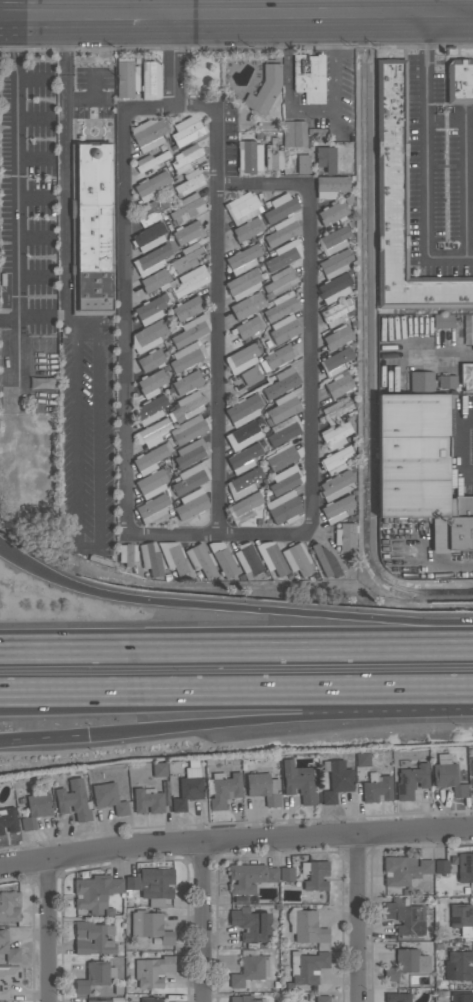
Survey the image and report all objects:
road: (132, 6)
road: (191, 6)
road: (244, 6)
road: (236, 12)
road: (174, 59)
building: (126, 77)
building: (309, 77)
building: (150, 80)
building: (460, 81)
building: (265, 89)
road: (175, 106)
road: (310, 111)
building: (187, 130)
building: (148, 133)
building: (294, 133)
building: (273, 156)
road: (425, 156)
building: (249, 157)
building: (187, 158)
building: (326, 158)
building: (150, 160)
building: (303, 163)
road: (16, 166)
road: (65, 175)
building: (189, 182)
road: (263, 184)
building: (153, 185)
building: (331, 185)
building: (401, 206)
building: (187, 207)
building: (242, 207)
building: (280, 207)
building: (152, 211)
building: (332, 212)
building: (91, 228)
building: (247, 229)
building: (281, 231)
building: (187, 232)
building: (149, 237)
building: (334, 239)
building: (283, 255)
building: (187, 257)
building: (243, 258)
building: (151, 260)
building: (335, 263)
building: (156, 280)
building: (190, 280)
building: (280, 281)
building: (243, 284)
building: (334, 287)
building: (247, 305)
building: (280, 306)
building: (187, 307)
building: (150, 310)
building: (337, 313)
road: (24, 318)
building: (442, 320)
building: (247, 327)
building: (284, 328)
building: (468, 329)
building: (191, 330)
road: (84, 333)
building: (148, 336)
building: (338, 336)
road: (442, 353)
building: (186, 356)
building: (276, 357)
building: (242, 358)
building: (337, 358)
building: (151, 359)
building: (251, 376)
building: (466, 376)
building: (8, 379)
building: (187, 381)
building: (421, 381)
building: (447, 381)
building: (281, 382)
building: (151, 383)
building: (339, 385)
road: (309, 402)
building: (188, 405)
building: (283, 408)
building: (151, 409)
building: (243, 410)
building: (336, 410)
building: (189, 429)
building: (284, 429)
building: (152, 432)
building: (243, 435)
building: (335, 435)
building: (190, 452)
building: (282, 456)
building: (244, 457)
building: (149, 459)
building: (336, 459)
building: (420, 467)
building: (191, 477)
building: (286, 479)
building: (152, 483)
building: (244, 483)
building: (336, 485)
building: (191, 503)
building: (153, 507)
building: (244, 507)
building: (284, 507)
building: (337, 508)
road: (169, 534)
building: (346, 536)
road: (85, 544)
road: (0, 547)
building: (128, 553)
building: (173, 557)
building: (271, 557)
building: (151, 558)
building: (223, 558)
building: (297, 558)
building: (201, 560)
building: (326, 560)
building: (249, 561)
road: (231, 608)
road: (236, 642)
road: (236, 695)
road: (275, 719)
road: (39, 739)
building: (362, 758)
building: (159, 769)
building: (448, 775)
building: (337, 779)
building: (411, 780)
building: (300, 781)
building: (189, 786)
building: (263, 787)
building: (376, 788)
building: (224, 789)
building: (109, 797)
building: (74, 799)
building: (148, 800)
building: (35, 809)
building: (8, 819)
road: (235, 840)
building: (442, 866)
building: (465, 867)
building: (404, 869)
building: (287, 873)
building: (315, 874)
building: (250, 876)
building: (152, 884)
building: (95, 892)
building: (9, 905)
building: (406, 917)
building: (462, 918)
road: (360, 919)
road: (204, 922)
building: (250, 923)
building: (150, 925)
building: (306, 926)
road: (47, 932)
building: (93, 938)
building: (8, 948)
building: (407, 963)
building: (308, 966)
building: (458, 966)
building: (248, 970)
building: (152, 971)
building: (95, 975)
building: (8, 978)
building: (461, 996)
building: (397, 997)
building: (243, 998)
building: (322, 998)
building: (152, 999)
building: (98, 1000)

